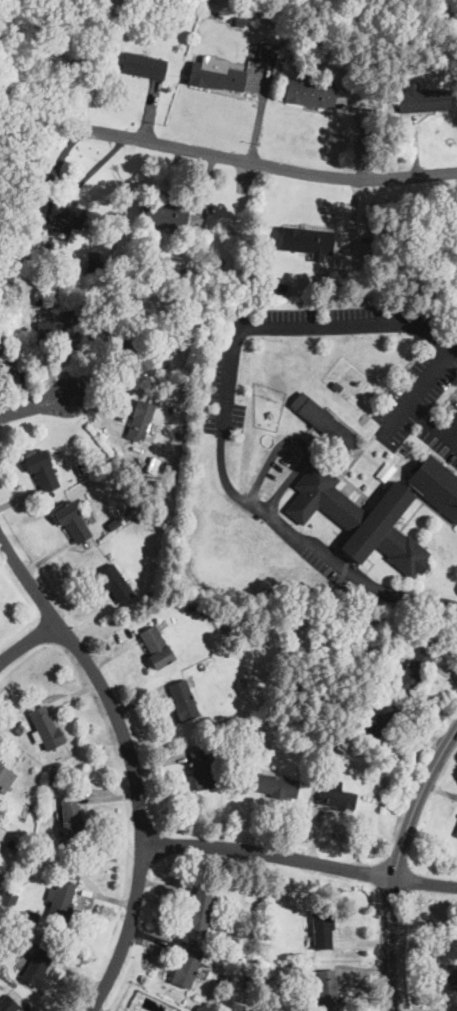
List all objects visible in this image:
building: (241, 22)
building: (332, 49)
building: (267, 53)
building: (144, 65)
building: (216, 75)
building: (308, 95)
building: (422, 98)
building: (378, 99)
road: (258, 113)
road: (263, 164)
building: (36, 199)
building: (59, 215)
building: (162, 215)
building: (8, 241)
building: (308, 241)
building: (49, 245)
building: (23, 256)
building: (95, 267)
building: (281, 287)
building: (17, 291)
building: (38, 299)
building: (58, 328)
building: (2, 346)
building: (173, 351)
building: (133, 352)
building: (335, 385)
road: (419, 387)
road: (34, 407)
building: (140, 420)
road: (432, 421)
building: (324, 423)
road: (223, 425)
road: (299, 442)
building: (81, 466)
building: (42, 470)
building: (435, 485)
building: (360, 518)
building: (72, 522)
building: (113, 523)
building: (150, 557)
building: (159, 559)
building: (115, 583)
building: (190, 606)
road: (26, 641)
building: (156, 646)
building: (200, 667)
building: (409, 670)
building: (183, 701)
building: (377, 721)
building: (350, 725)
building: (20, 727)
building: (45, 729)
building: (306, 734)
building: (235, 735)
road: (130, 764)
building: (202, 769)
building: (5, 778)
building: (54, 778)
building: (276, 785)
building: (335, 794)
building: (45, 805)
building: (25, 812)
building: (71, 818)
building: (456, 833)
building: (20, 843)
road: (270, 855)
road: (396, 861)
building: (72, 872)
road: (425, 881)
building: (4, 900)
building: (60, 900)
building: (200, 910)
building: (34, 916)
building: (322, 928)
building: (230, 941)
building: (295, 963)
building: (36, 967)
building: (188, 968)
building: (248, 981)
building: (450, 982)
building: (327, 991)
building: (7, 1003)

